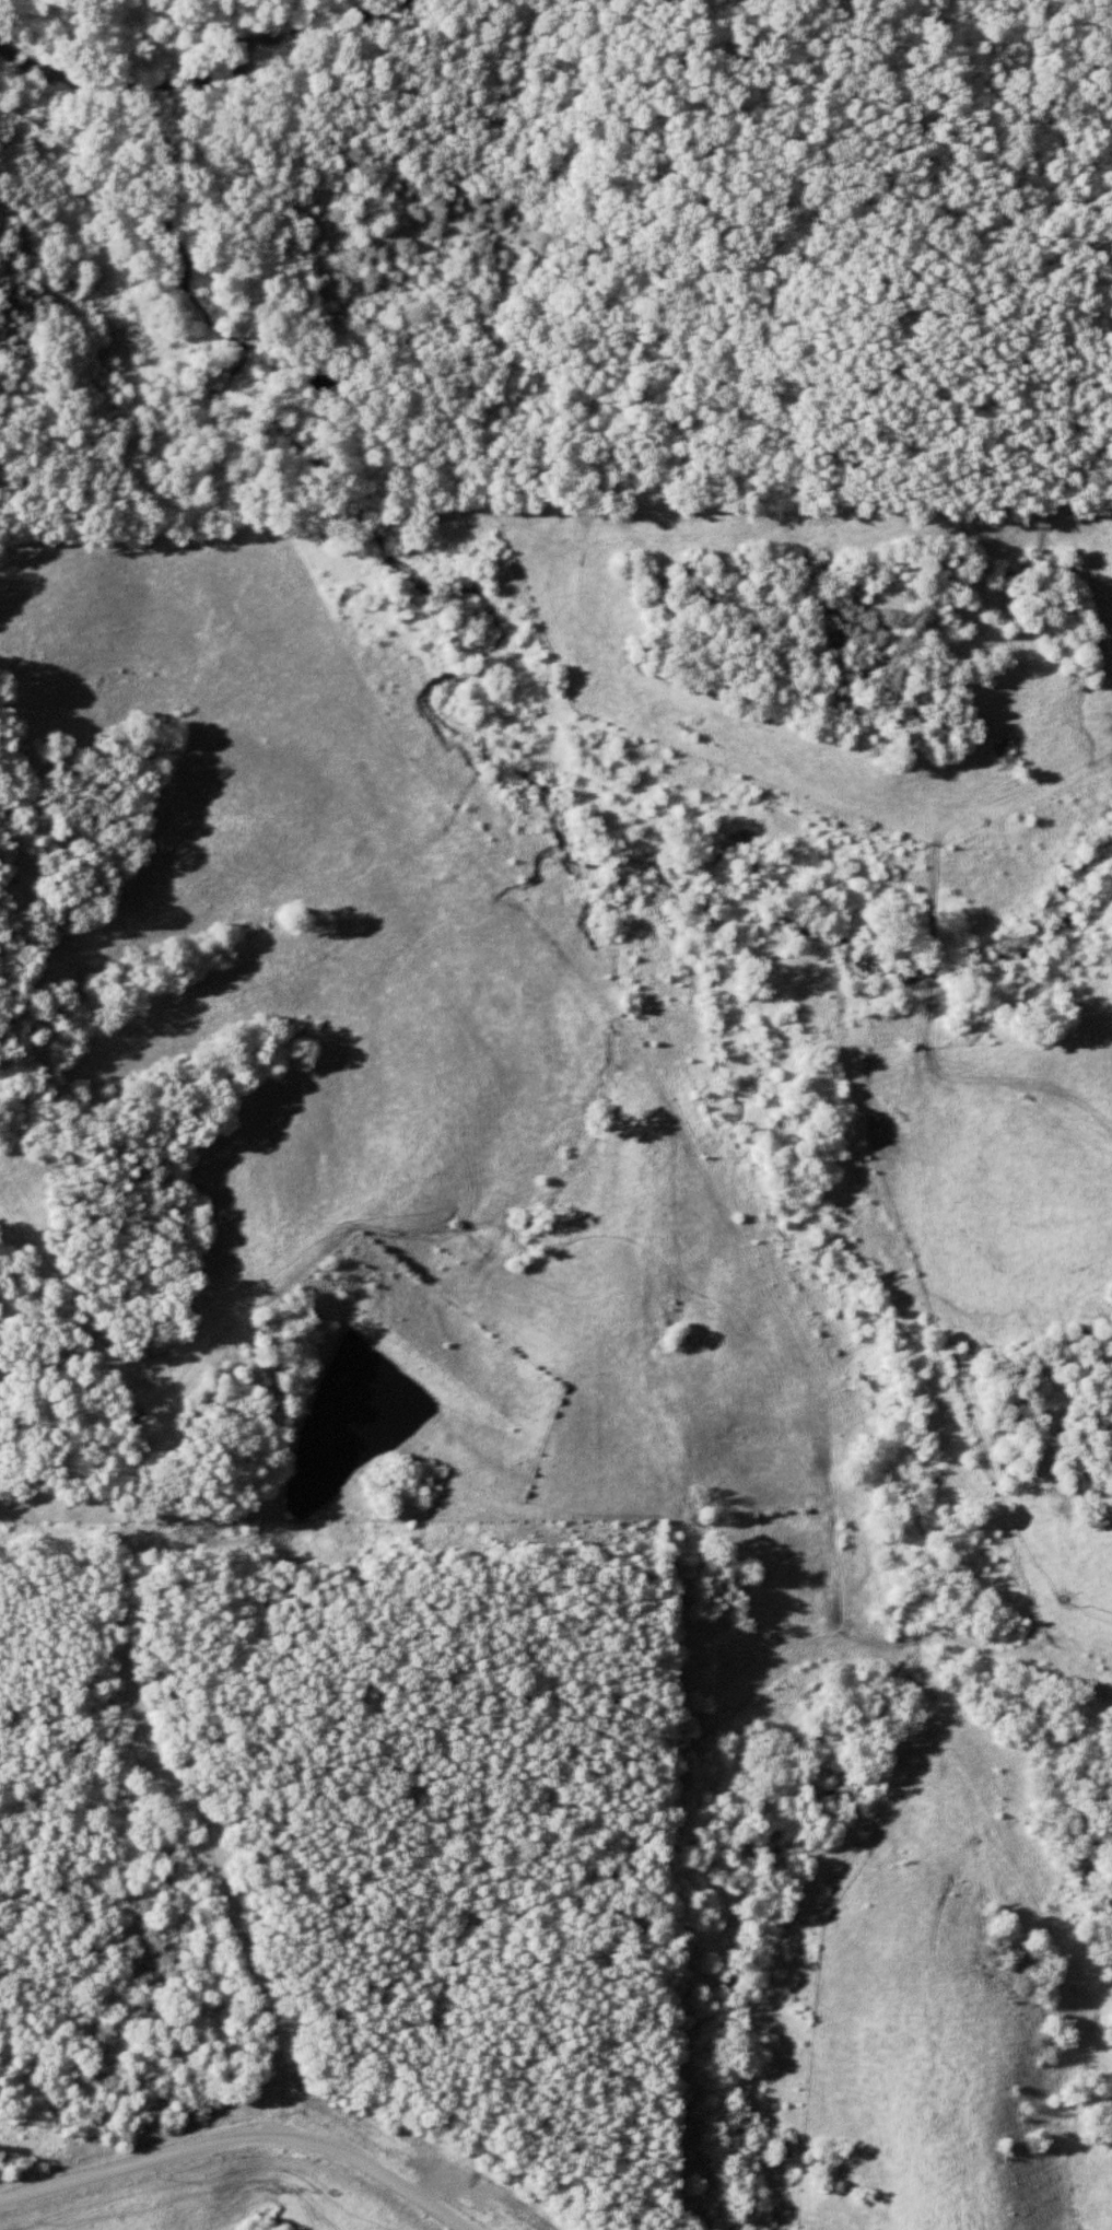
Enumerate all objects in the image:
road: (243, 2134)

